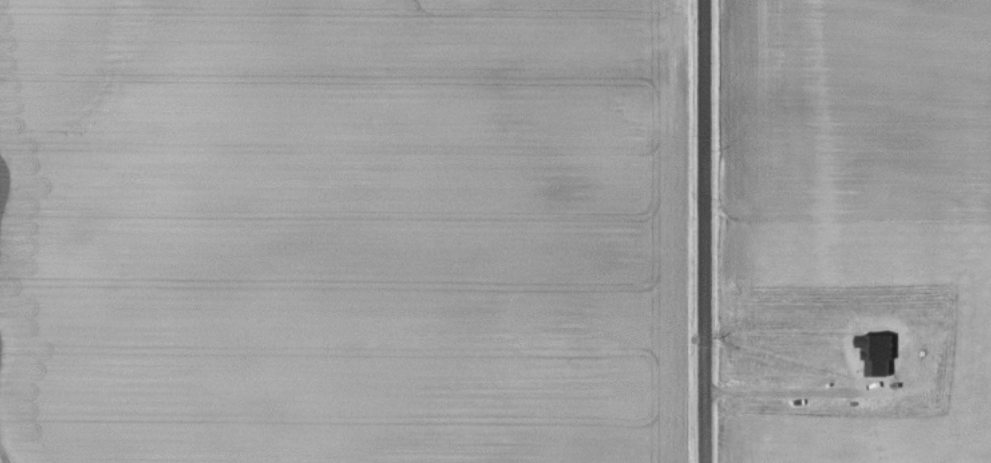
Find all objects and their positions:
road: (707, 231)
building: (878, 353)
road: (792, 391)

